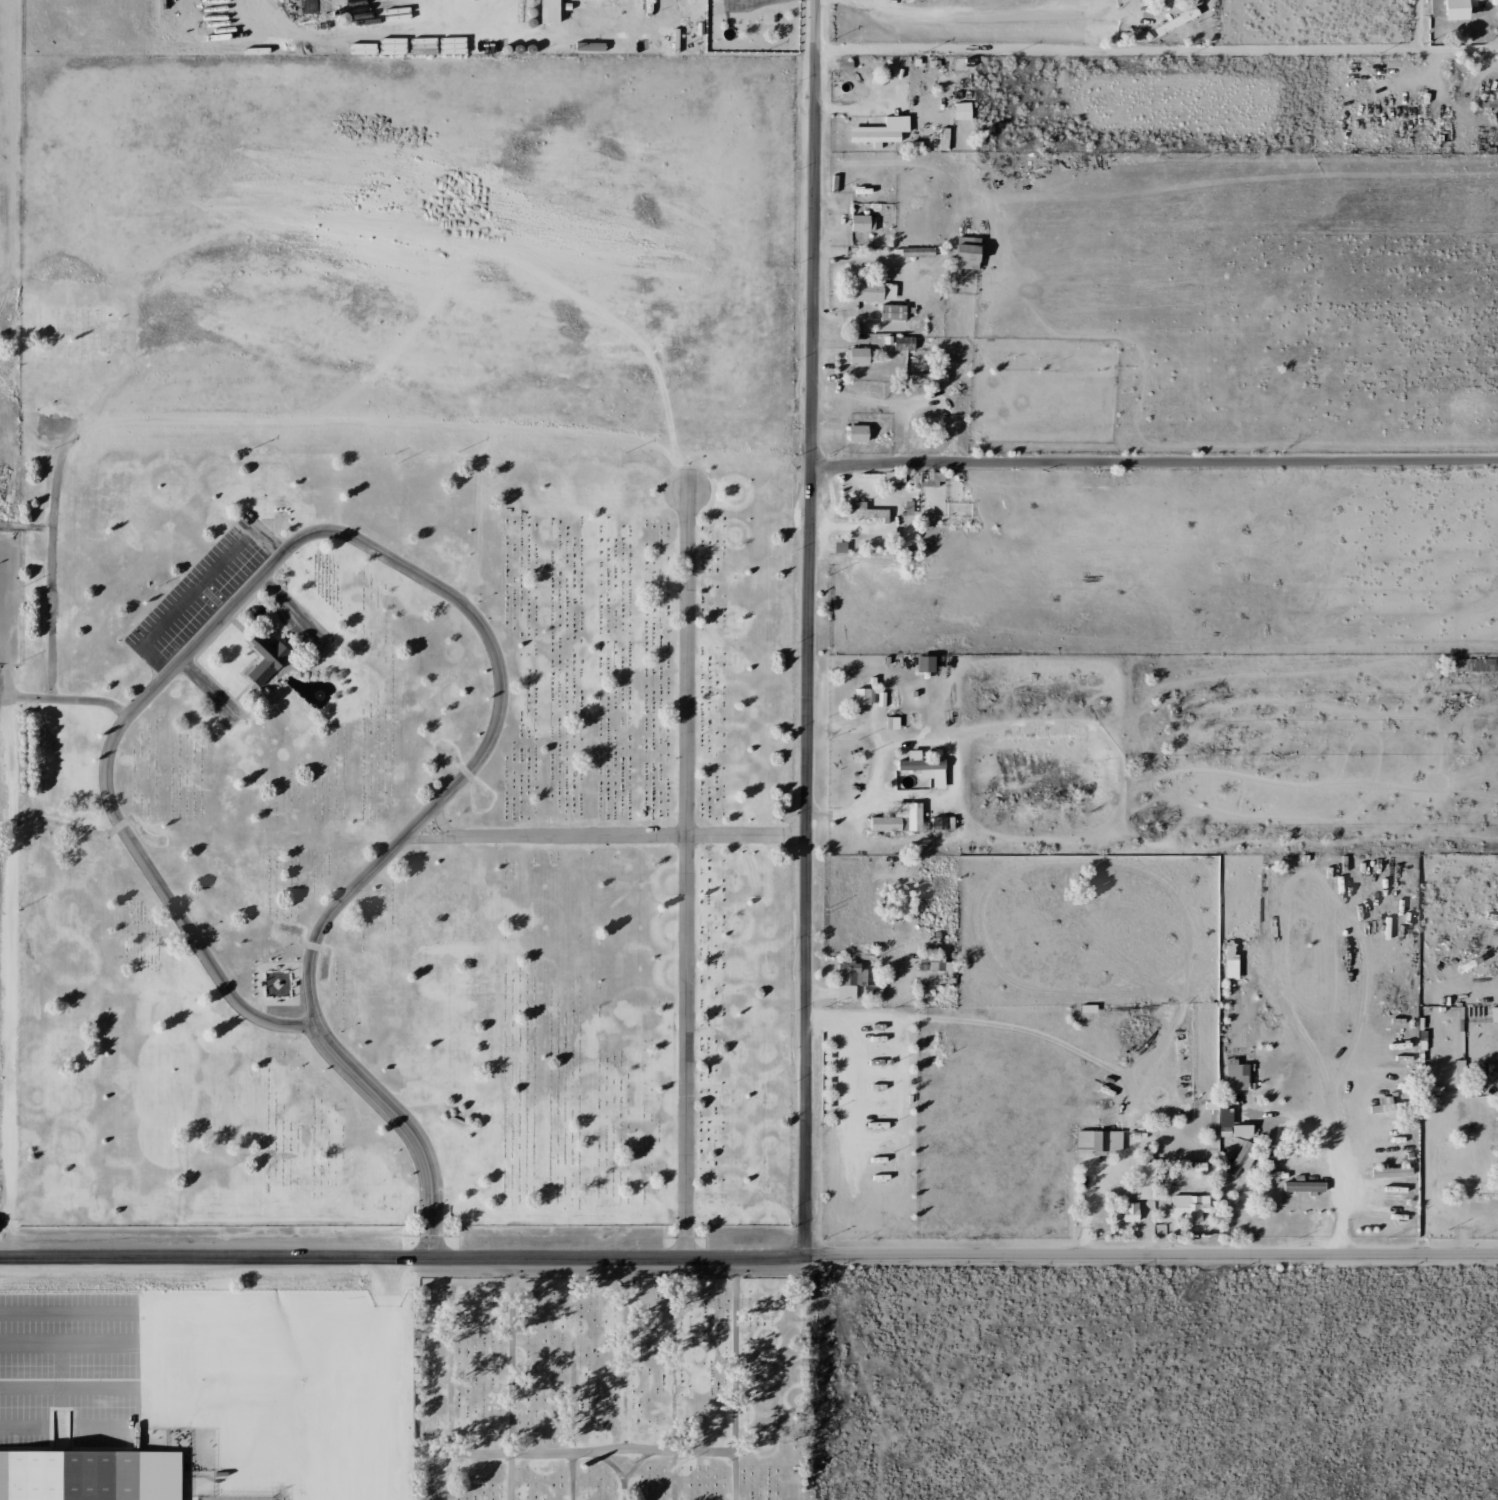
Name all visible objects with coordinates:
building: (662, 5)
building: (1448, 8)
building: (546, 11)
building: (1174, 21)
road: (1151, 51)
building: (960, 111)
building: (878, 132)
building: (942, 139)
building: (860, 223)
building: (964, 252)
building: (869, 291)
building: (891, 312)
building: (856, 356)
building: (925, 377)
building: (855, 433)
road: (1155, 458)
building: (892, 477)
building: (862, 510)
road: (308, 535)
road: (811, 628)
building: (264, 660)
building: (923, 663)
building: (868, 697)
building: (890, 723)
building: (922, 768)
building: (897, 818)
building: (937, 823)
road: (437, 825)
road: (603, 838)
road: (686, 872)
building: (1228, 960)
building: (934, 964)
building: (847, 979)
building: (1493, 1015)
building: (1235, 1077)
building: (1219, 1118)
road: (402, 1128)
building: (1239, 1130)
building: (1096, 1141)
building: (1239, 1159)
building: (1141, 1180)
building: (1302, 1187)
building: (1187, 1208)
building: (1128, 1212)
road: (1407, 1255)
road: (1061, 1256)
road: (403, 1258)
road: (736, 1378)
road: (512, 1379)
park: (611, 1389)
road: (594, 1452)
road: (611, 1465)
road: (637, 1465)
building: (88, 1476)
road: (626, 1489)

